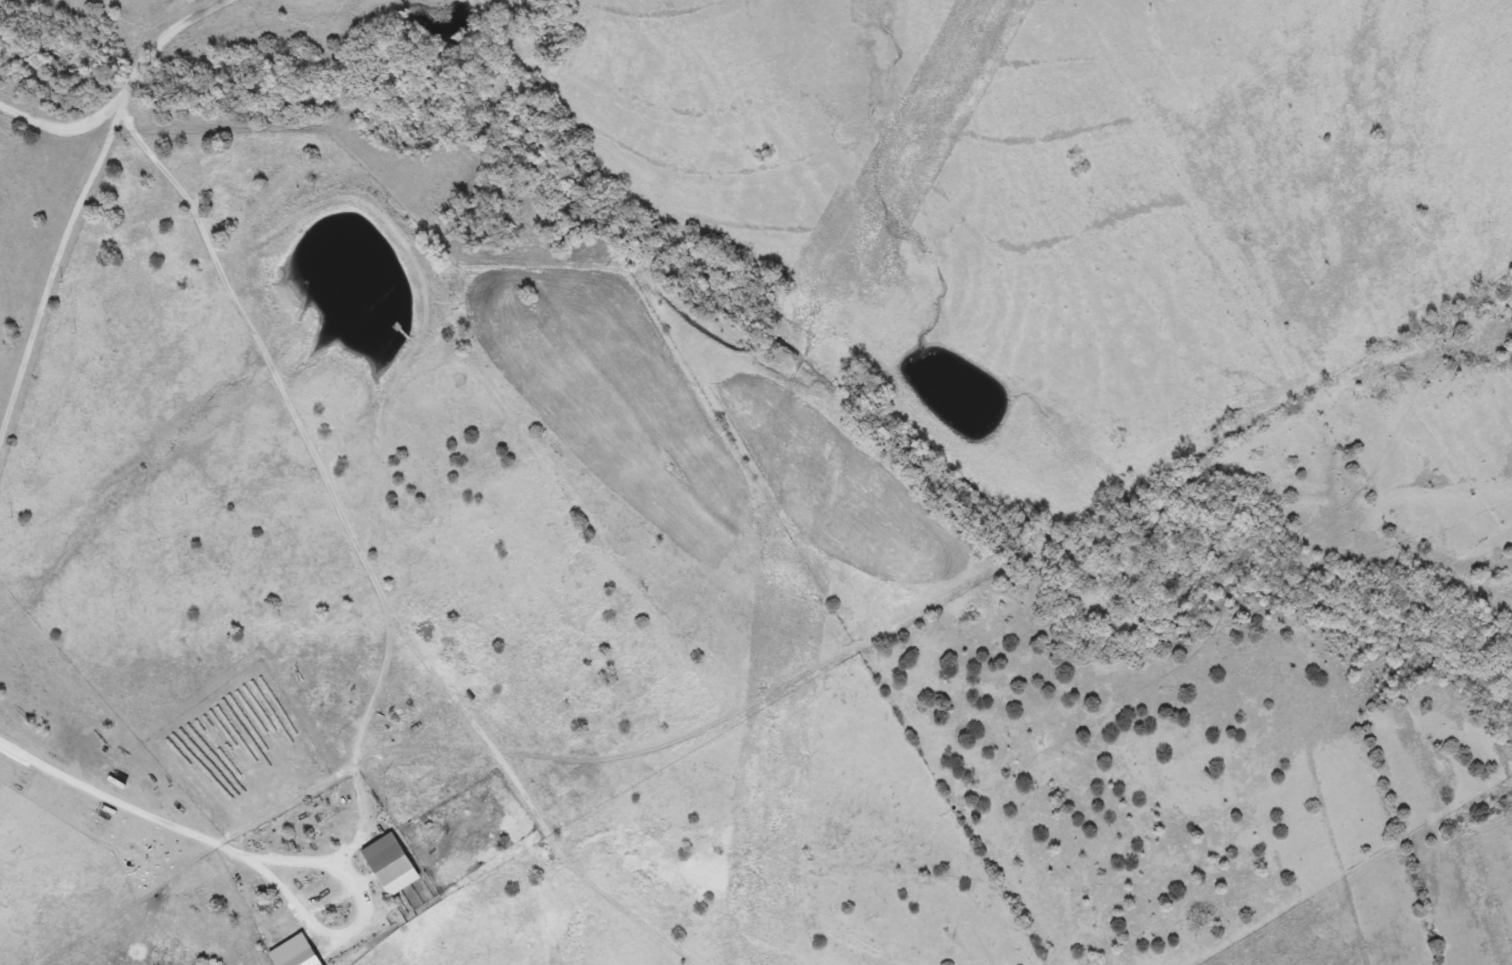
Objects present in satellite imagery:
road: (79, 199)
road: (317, 471)
road: (120, 797)
building: (382, 859)
road: (366, 912)

